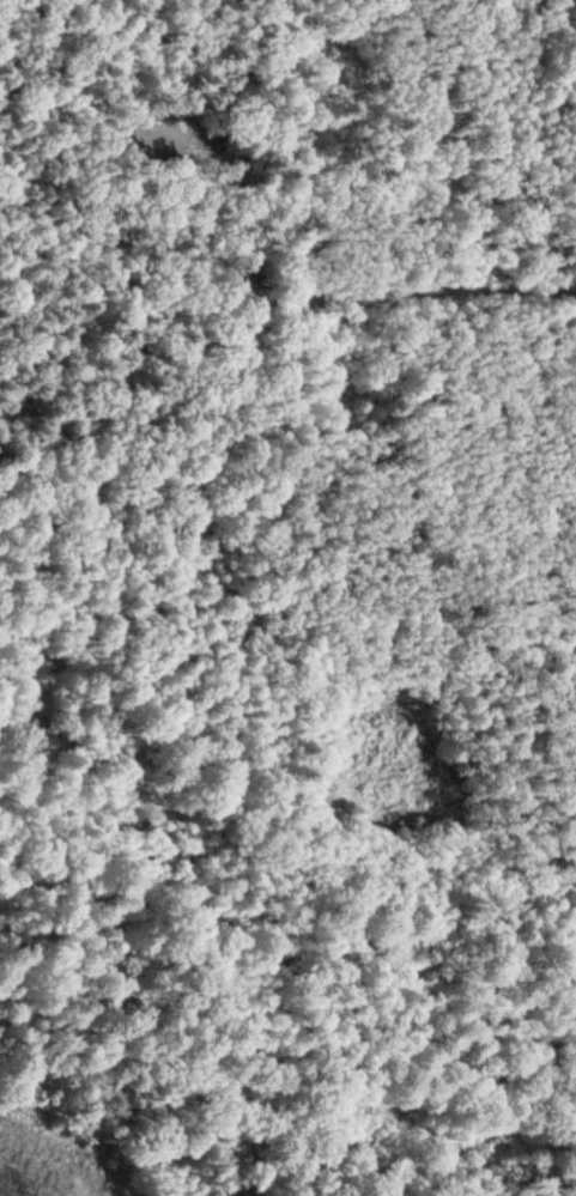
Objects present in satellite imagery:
road: (287, 304)

